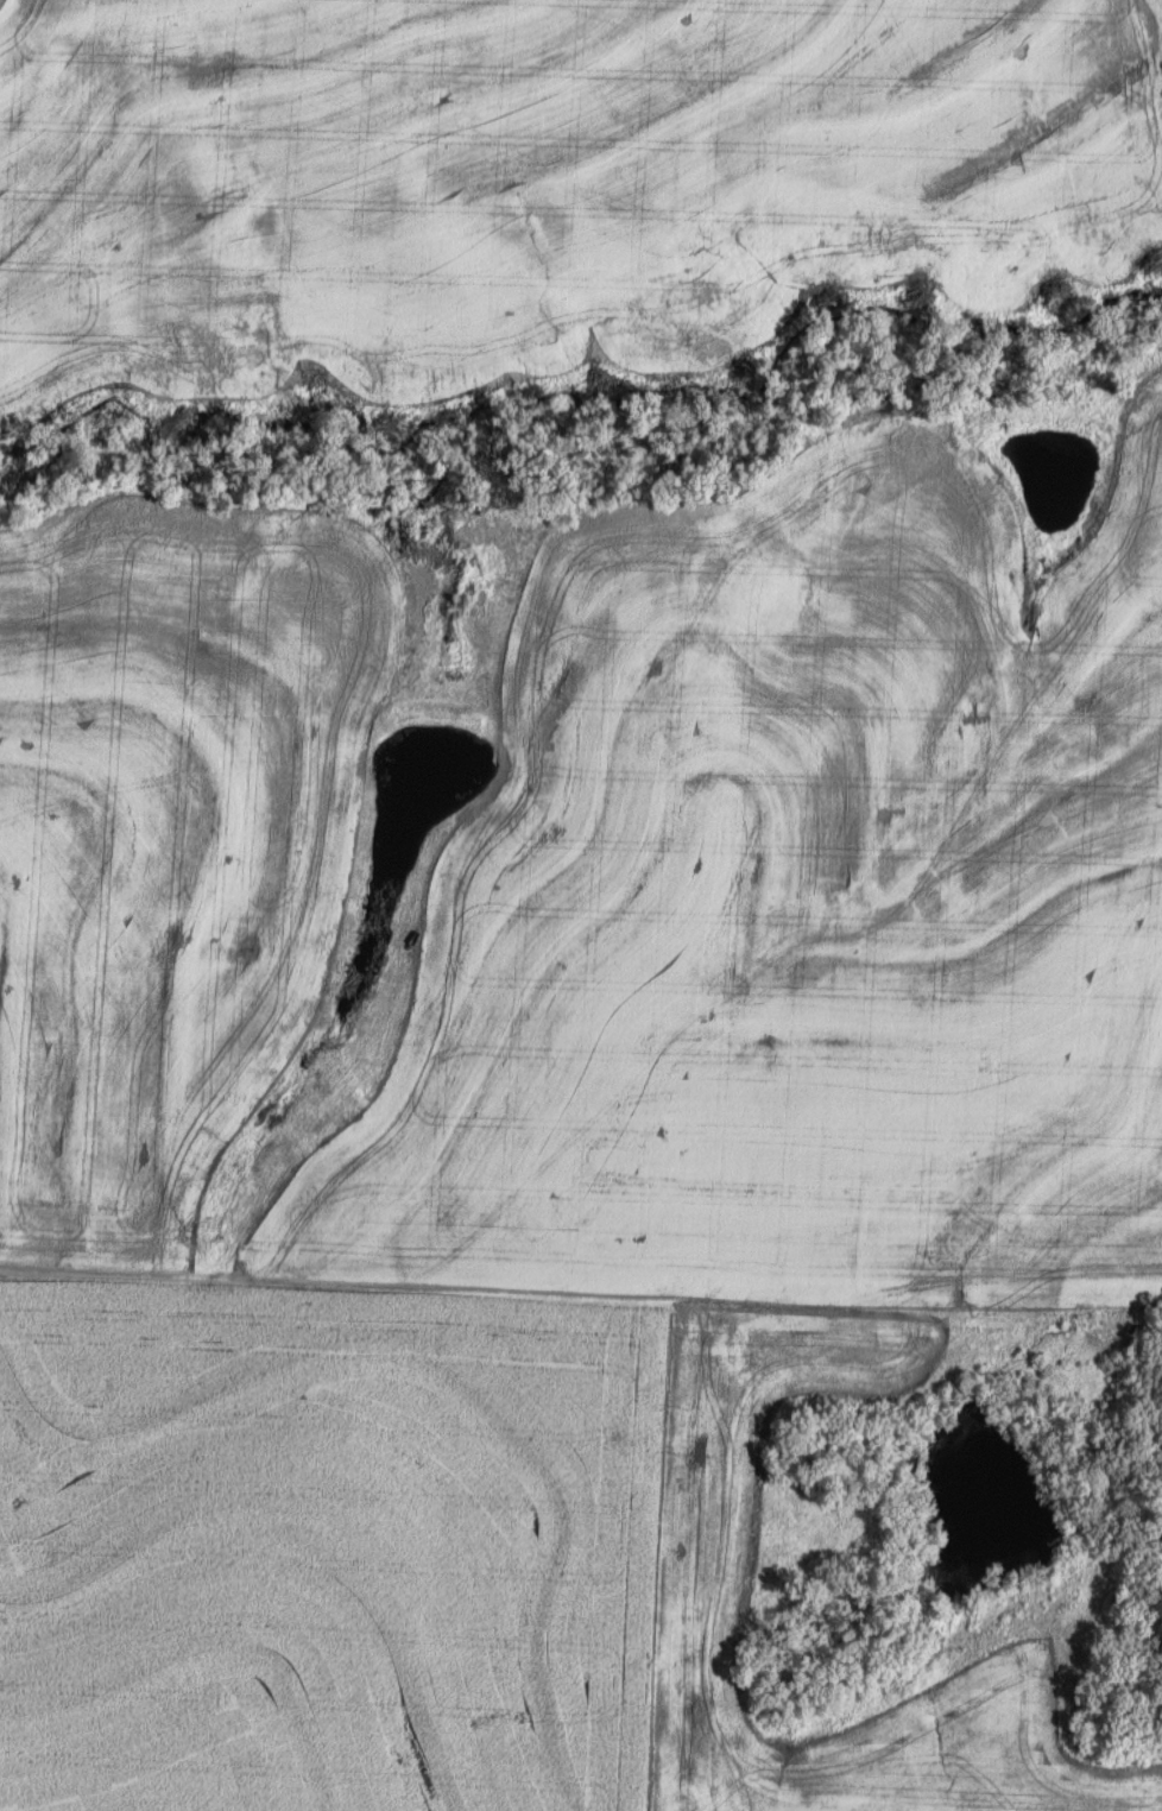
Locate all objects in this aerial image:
road: (580, 1282)

